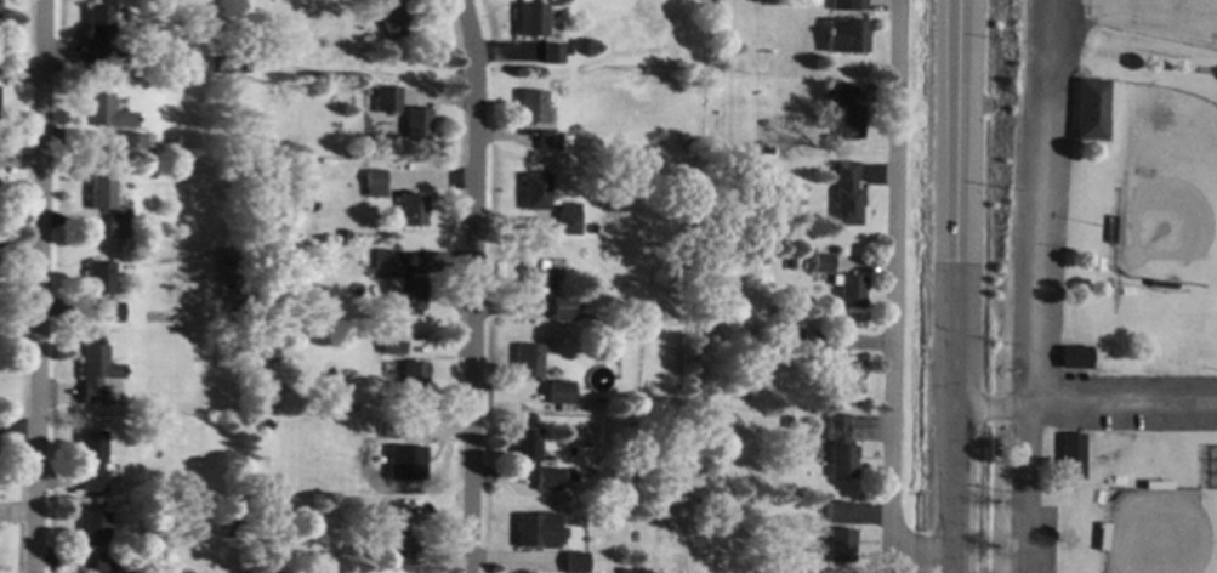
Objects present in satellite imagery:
building: (165, 1)
building: (847, 5)
building: (389, 17)
building: (531, 19)
park: (1161, 19)
building: (99, 35)
building: (844, 35)
building: (569, 50)
building: (552, 53)
building: (232, 66)
building: (388, 100)
building: (531, 106)
building: (1088, 109)
building: (844, 110)
building: (103, 112)
building: (417, 124)
building: (392, 138)
building: (565, 140)
building: (547, 141)
building: (131, 143)
building: (174, 144)
building: (768, 151)
building: (374, 185)
park: (1165, 188)
building: (779, 191)
building: (534, 192)
building: (99, 193)
building: (846, 194)
building: (411, 209)
building: (567, 222)
building: (115, 226)
building: (592, 228)
building: (1111, 228)
building: (385, 260)
building: (820, 262)
building: (790, 263)
building: (535, 277)
building: (99, 278)
building: (1162, 283)
road: (472, 285)
road: (36, 286)
road: (961, 286)
building: (848, 290)
building: (408, 293)
road: (898, 306)
building: (561, 308)
building: (110, 312)
building: (581, 314)
building: (798, 334)
road: (1031, 341)
building: (392, 344)
building: (821, 344)
building: (273, 353)
building: (1075, 356)
building: (528, 361)
building: (96, 373)
building: (848, 376)
building: (414, 379)
building: (559, 392)
road: (1088, 408)
building: (786, 421)
building: (267, 425)
building: (393, 429)
building: (527, 444)
building: (841, 448)
building: (1071, 455)
building: (92, 460)
building: (411, 463)
building: (546, 481)
building: (235, 483)
building: (1155, 484)
building: (699, 500)
building: (837, 511)
building: (391, 516)
building: (95, 528)
building: (538, 529)
park: (1161, 532)
building: (1102, 535)
building: (402, 544)
building: (841, 545)
building: (102, 562)
building: (575, 562)
building: (126, 569)

